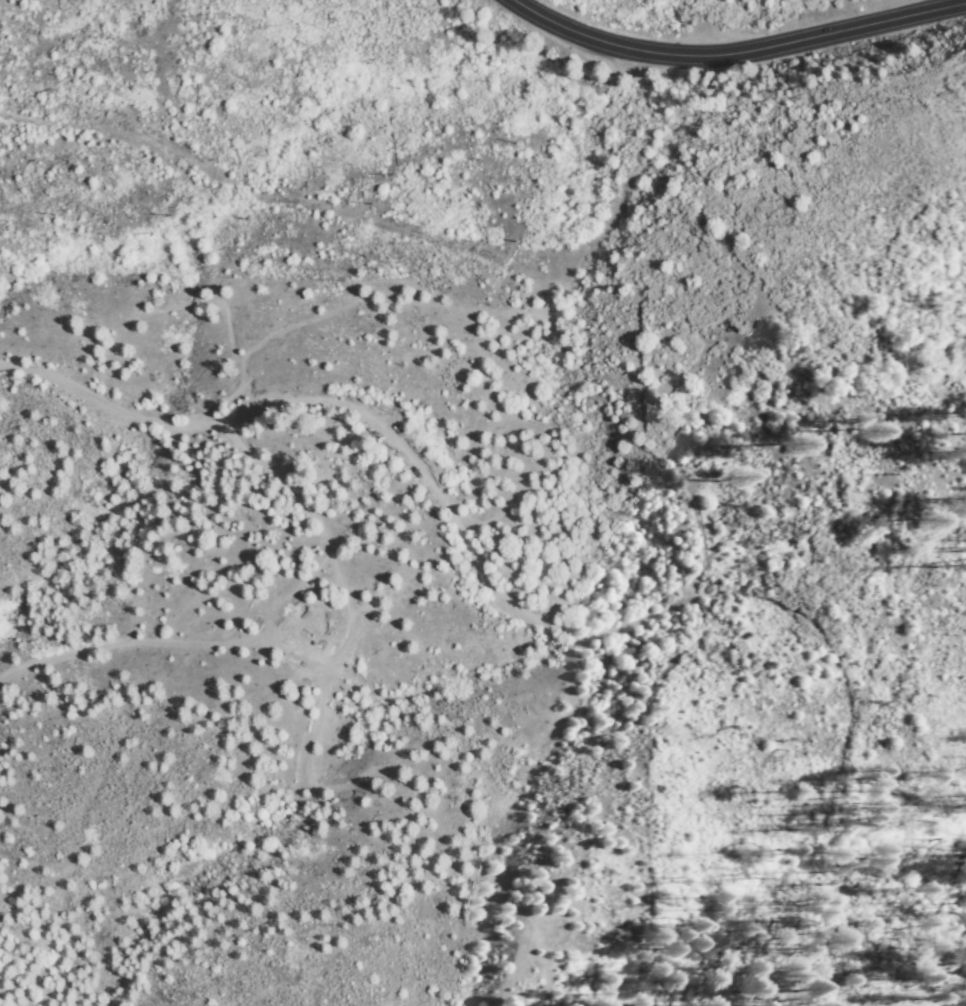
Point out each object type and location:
road: (735, 67)
road: (96, 419)
road: (450, 519)
road: (307, 653)

